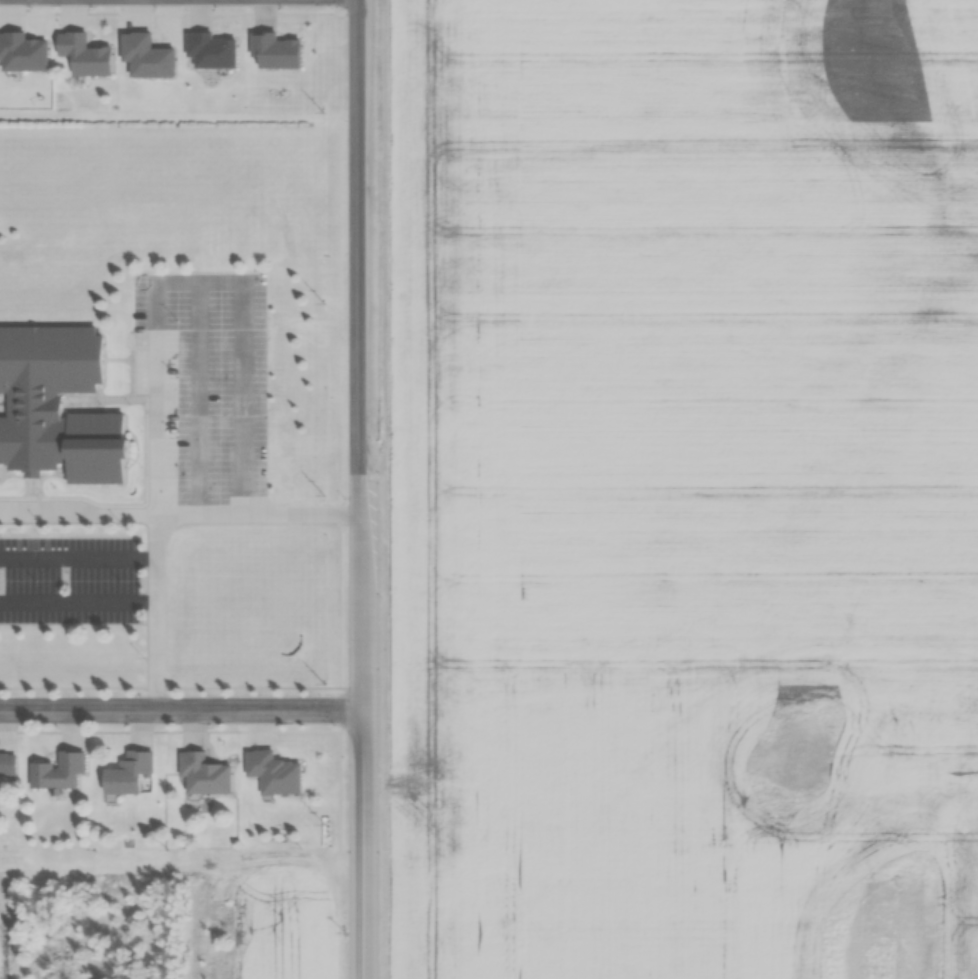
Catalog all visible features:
building: (62, 406)
road: (357, 489)
road: (156, 495)
road: (179, 507)
road: (179, 711)
building: (9, 763)
building: (61, 772)
building: (276, 772)
building: (134, 773)
building: (207, 774)

